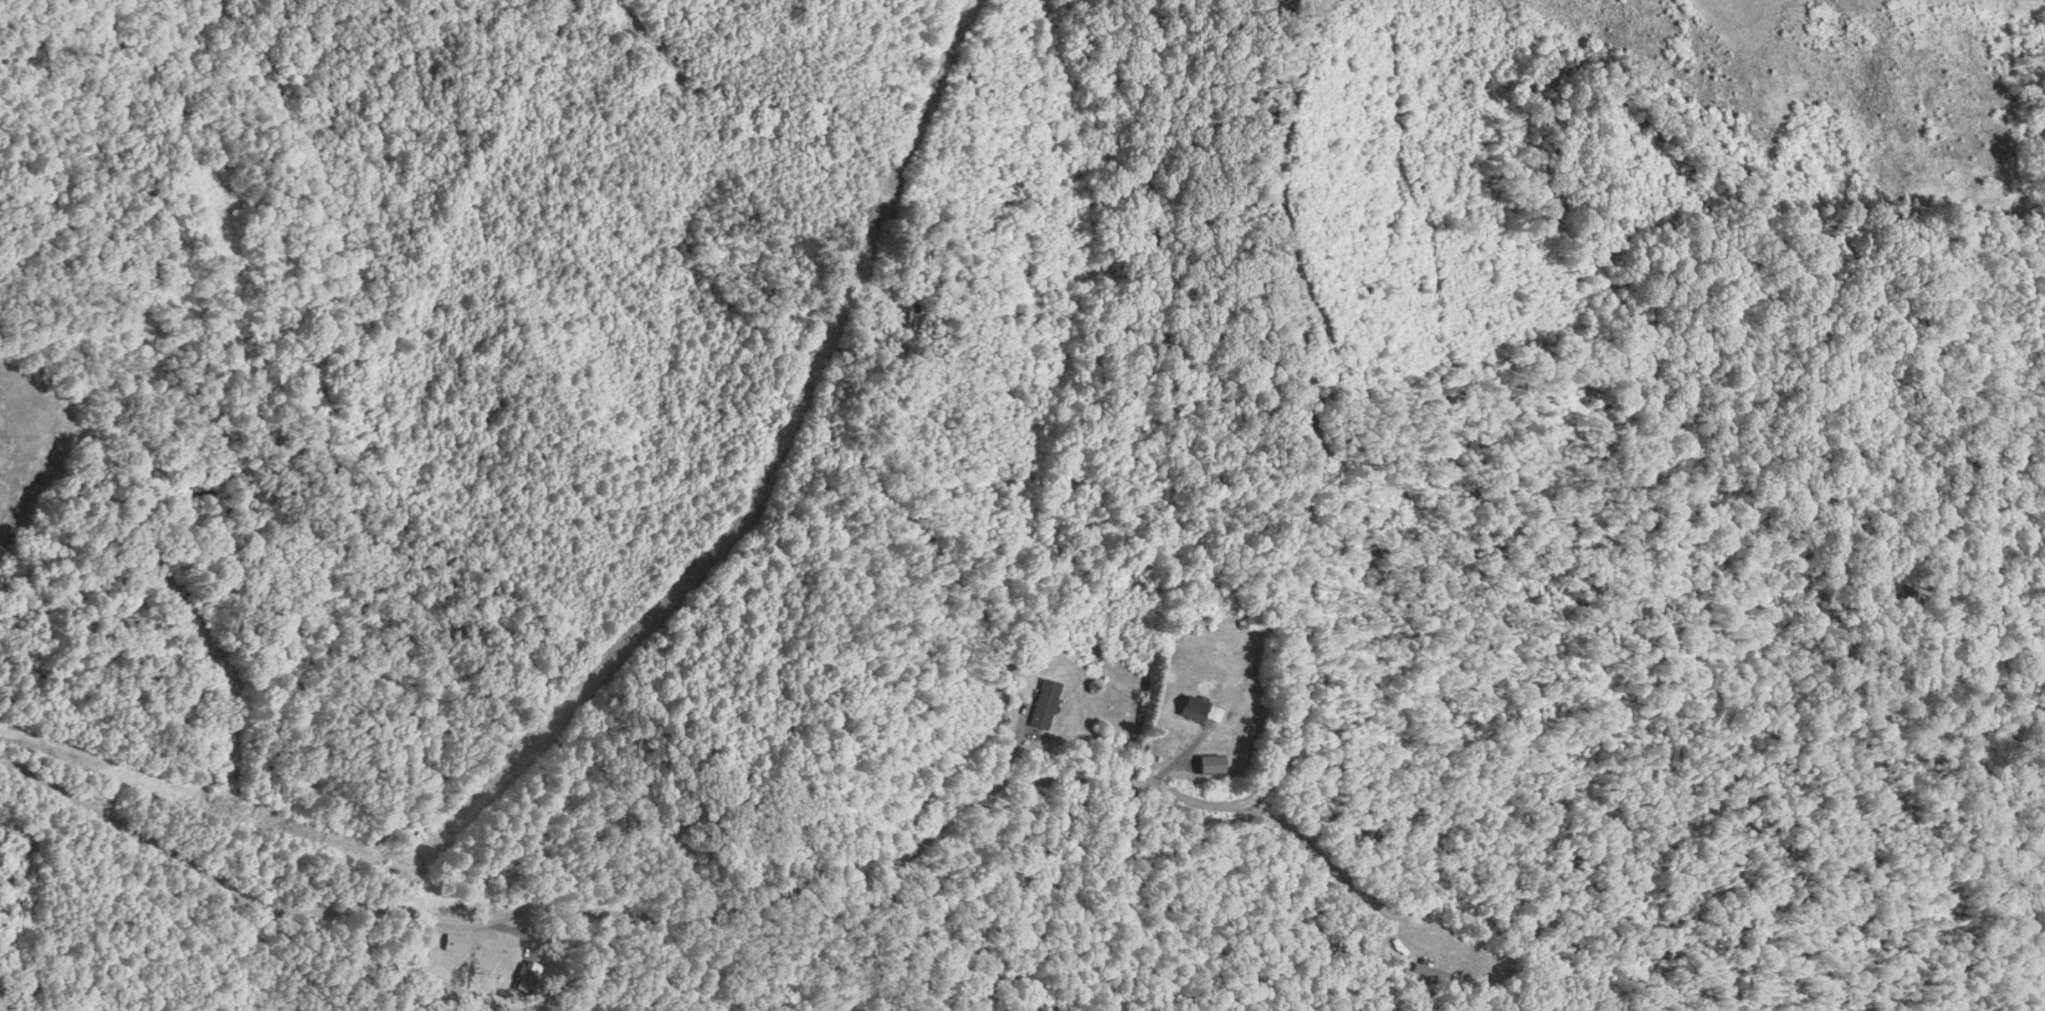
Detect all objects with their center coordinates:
building: (903, 315)
road: (945, 566)
building: (1043, 701)
building: (1186, 706)
building: (1201, 763)
road: (1034, 778)
building: (12, 850)
road: (1339, 872)
building: (455, 943)

